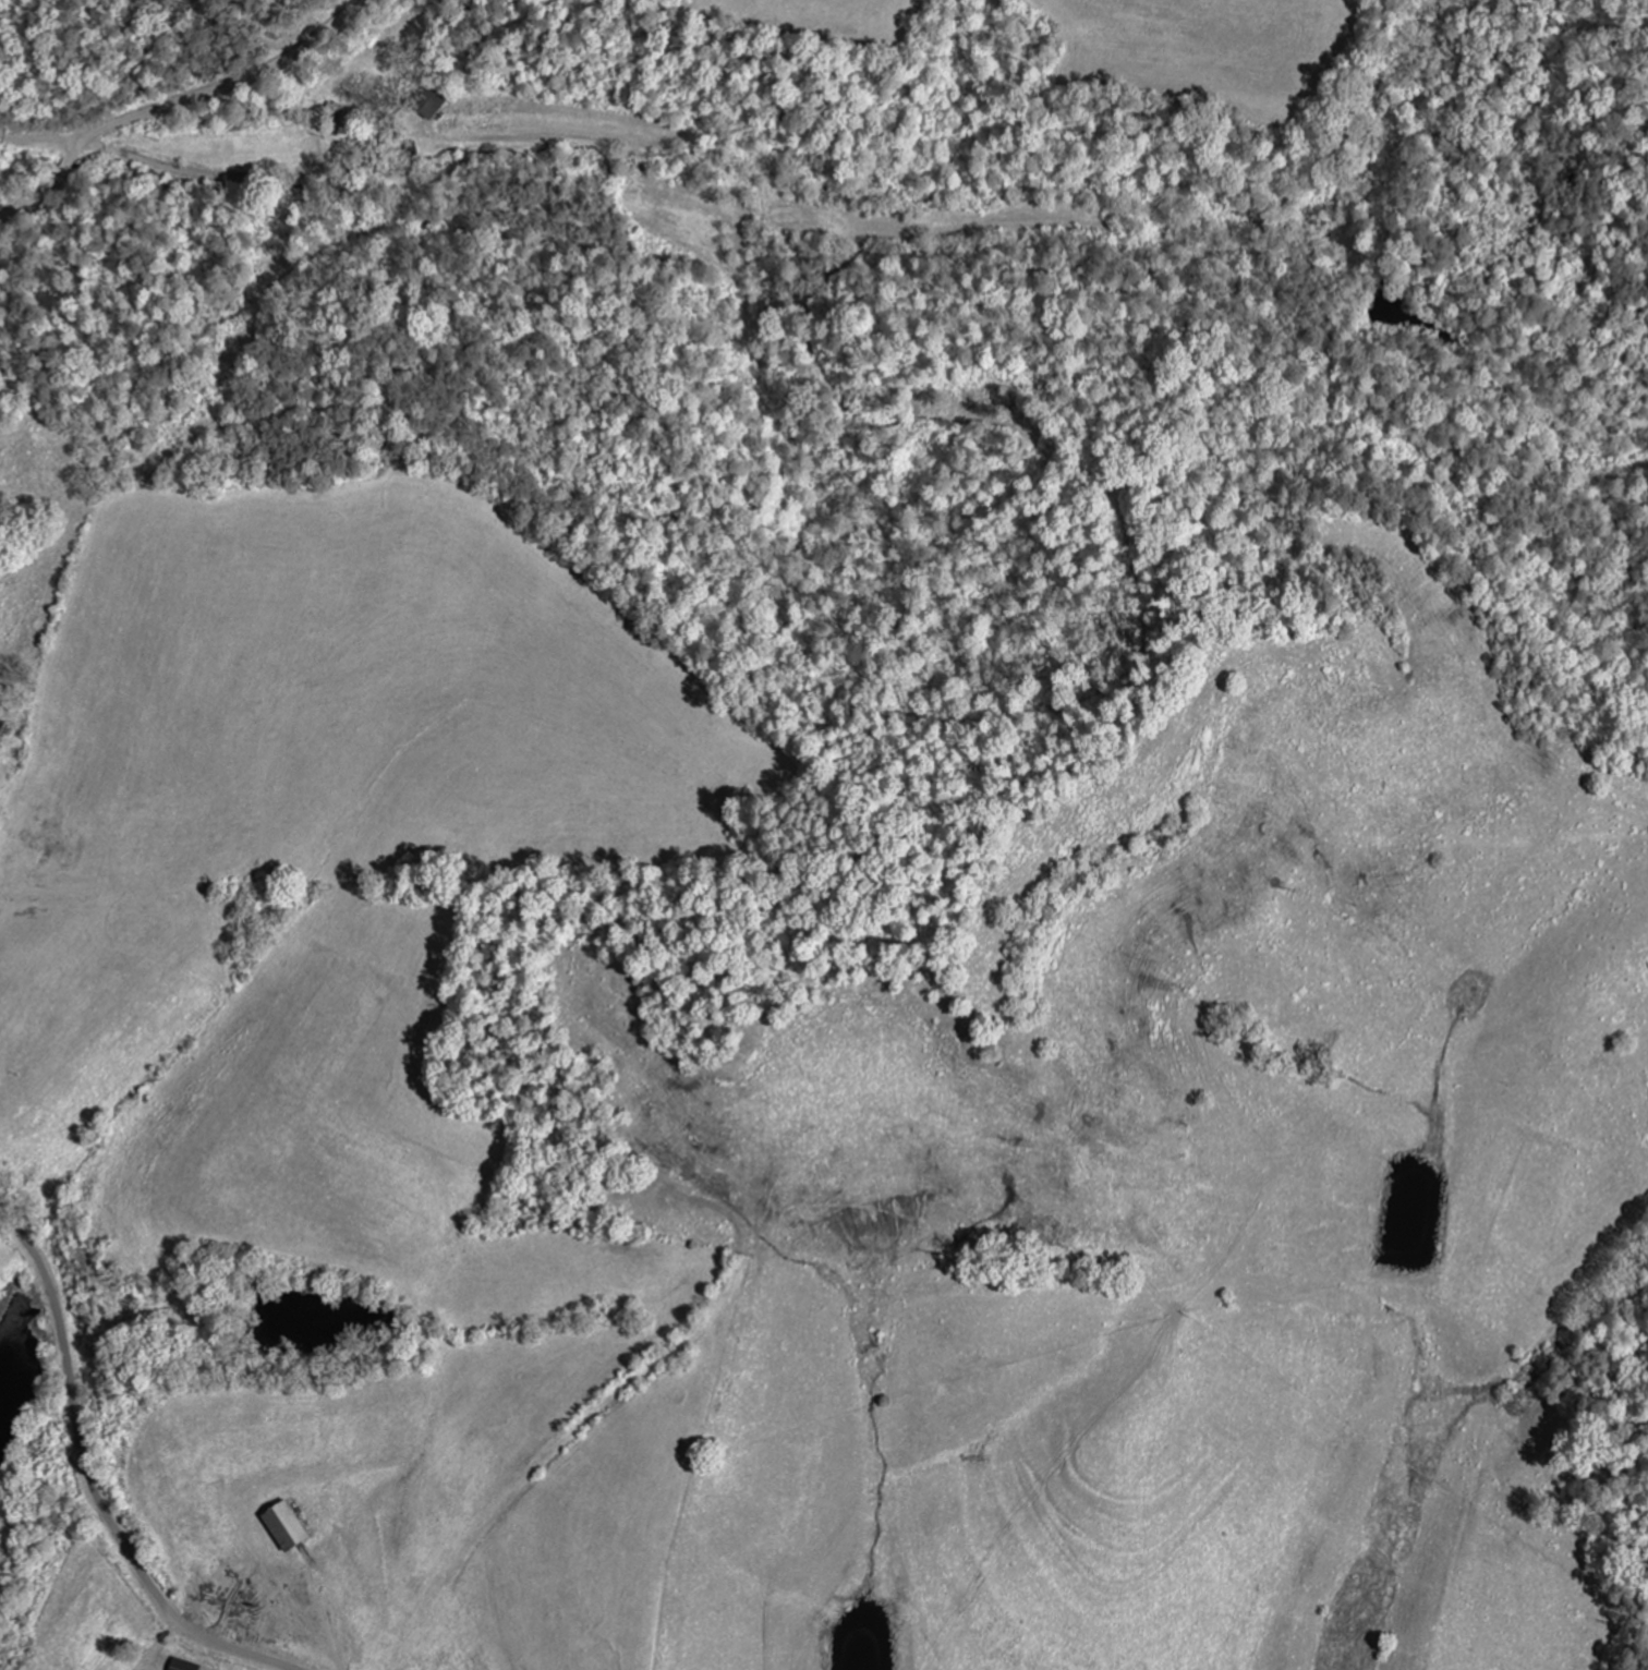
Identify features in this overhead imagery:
road: (174, 102)
road: (92, 1480)
building: (280, 1527)
building: (181, 1665)

